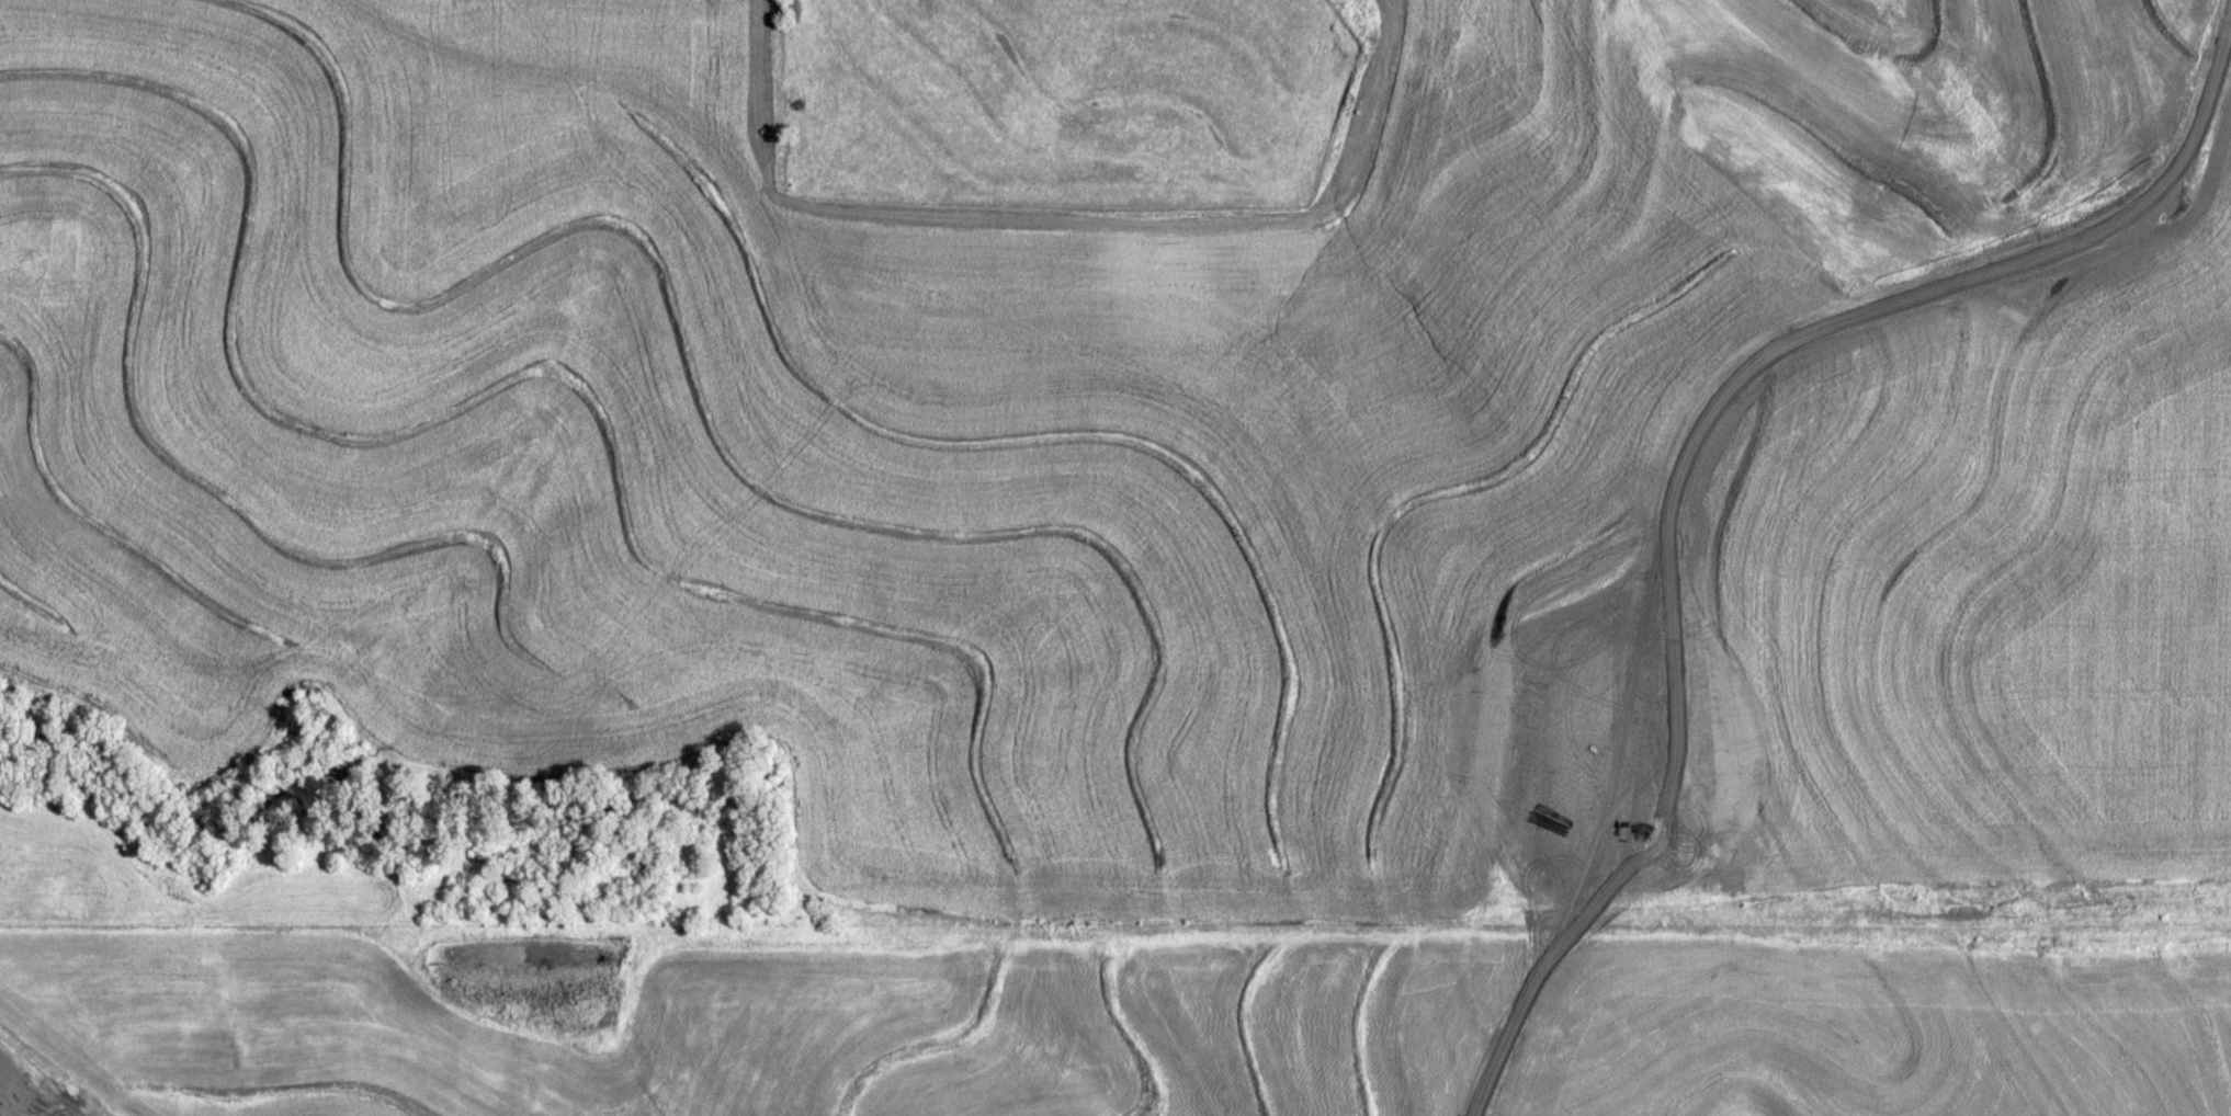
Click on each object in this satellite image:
road: (1695, 453)
wind turbine: (1585, 751)

